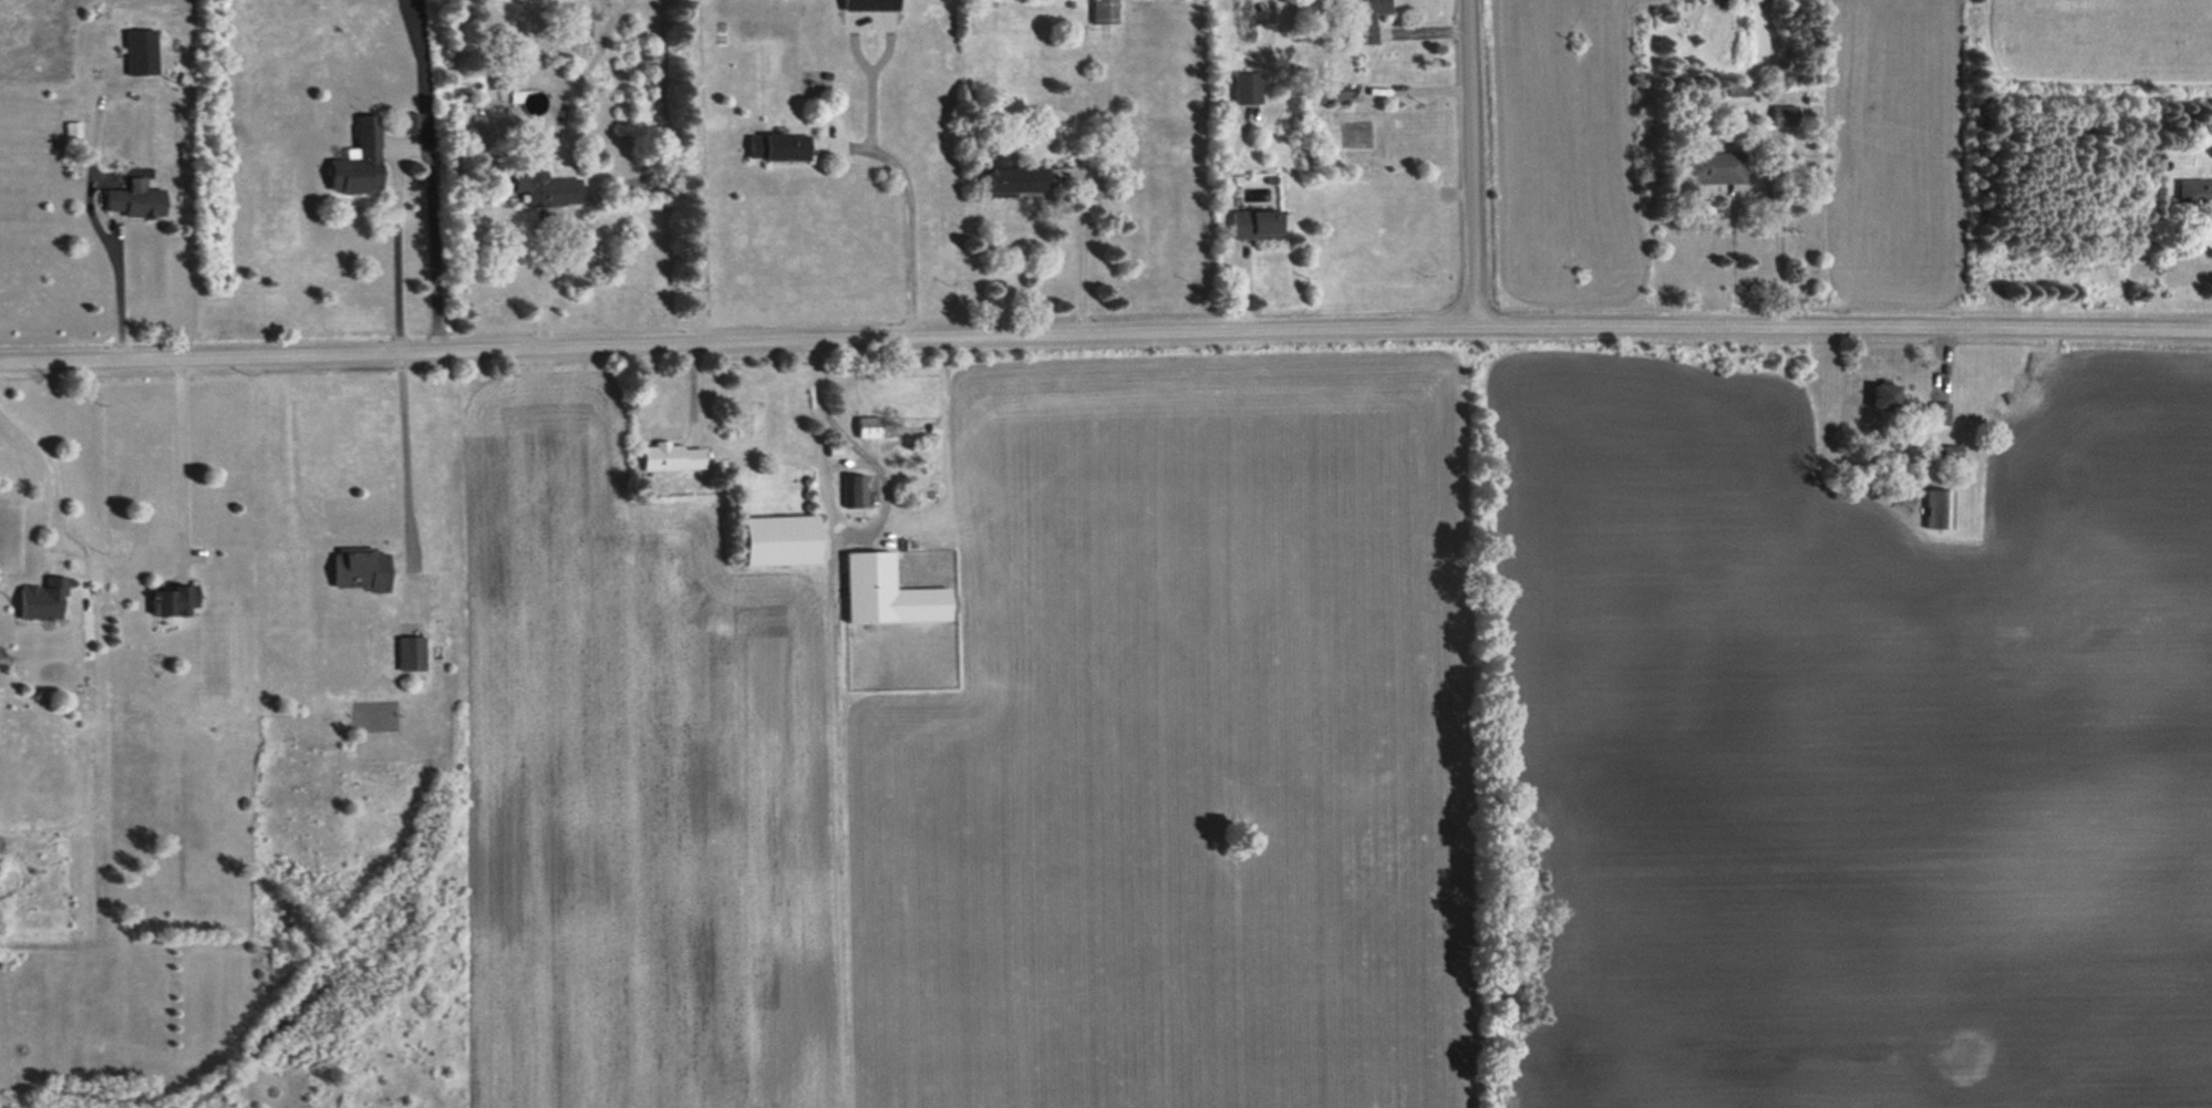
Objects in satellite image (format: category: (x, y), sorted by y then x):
building: (869, 4)
building: (1103, 11)
building: (1367, 19)
building: (139, 52)
building: (1245, 89)
building: (1331, 93)
building: (467, 114)
building: (1784, 115)
building: (411, 122)
road: (413, 147)
building: (777, 147)
building: (358, 160)
road: (1468, 162)
building: (1713, 168)
building: (1013, 178)
building: (545, 188)
building: (2193, 191)
building: (134, 199)
road: (909, 215)
building: (1254, 225)
road: (1221, 227)
road: (1081, 253)
road: (1735, 261)
road: (541, 284)
road: (116, 292)
road: (1105, 332)
building: (1883, 396)
building: (1939, 414)
building: (867, 427)
road: (405, 454)
road: (180, 456)
building: (669, 457)
road: (50, 462)
building: (854, 490)
building: (1940, 509)
road: (834, 524)
building: (779, 540)
building: (359, 569)
building: (887, 592)
building: (42, 600)
building: (173, 601)
building: (410, 653)

